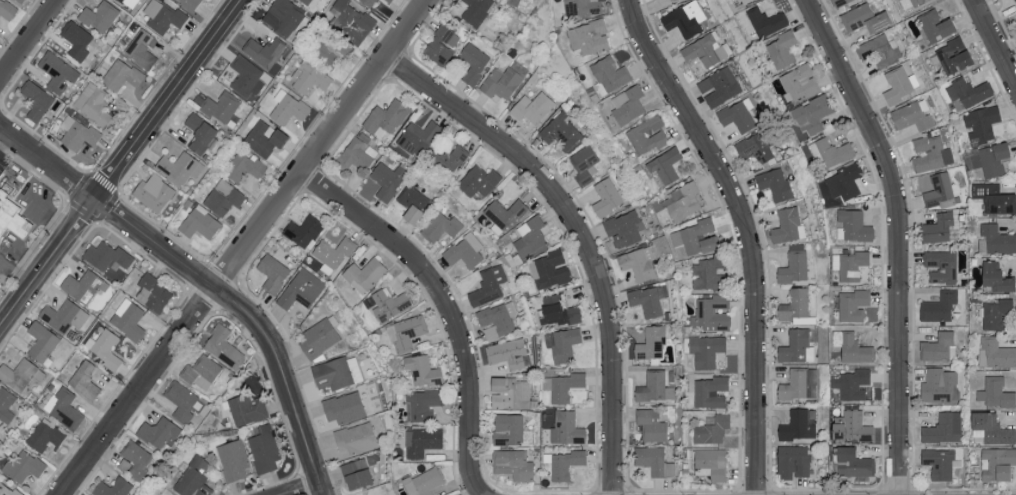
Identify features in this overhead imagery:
building: (671, 0)
building: (1015, 0)
building: (19, 1)
building: (388, 1)
building: (746, 1)
building: (129, 2)
building: (310, 2)
building: (368, 2)
building: (840, 2)
building: (190, 3)
building: (910, 3)
building: (581, 7)
building: (6, 9)
building: (476, 11)
building: (99, 15)
building: (162, 15)
building: (283, 17)
building: (864, 18)
building: (684, 19)
building: (351, 20)
building: (767, 21)
building: (936, 26)
building: (588, 37)
building: (76, 38)
road: (31, 42)
road: (994, 42)
building: (441, 45)
building: (140, 48)
building: (264, 50)
building: (707, 50)
building: (782, 50)
building: (881, 50)
building: (954, 56)
building: (474, 62)
building: (57, 71)
building: (609, 72)
building: (121, 74)
building: (247, 76)
building: (309, 77)
building: (504, 79)
building: (799, 83)
building: (900, 83)
building: (719, 86)
building: (967, 93)
building: (36, 99)
road: (168, 99)
building: (93, 103)
building: (627, 103)
building: (221, 105)
building: (287, 106)
building: (532, 106)
building: (738, 114)
building: (813, 114)
building: (913, 115)
building: (384, 117)
building: (981, 124)
building: (199, 131)
building: (560, 131)
building: (77, 132)
building: (418, 134)
building: (647, 134)
building: (264, 138)
road: (4, 140)
building: (755, 146)
building: (831, 150)
building: (357, 153)
building: (930, 153)
building: (447, 157)
building: (990, 159)
building: (583, 162)
building: (664, 164)
parking lot: (1, 165)
building: (244, 165)
building: (178, 166)
building: (387, 178)
building: (478, 180)
building: (844, 181)
building: (775, 182)
building: (940, 190)
building: (153, 191)
building: (606, 195)
building: (223, 196)
building: (995, 197)
road: (31, 198)
building: (413, 202)
building: (505, 212)
building: (14, 221)
building: (198, 222)
building: (788, 224)
building: (853, 225)
building: (440, 226)
building: (624, 227)
building: (937, 227)
building: (303, 229)
road: (750, 232)
building: (530, 235)
road: (580, 235)
building: (696, 236)
road: (897, 237)
building: (995, 239)
road: (243, 246)
building: (464, 250)
building: (332, 253)
building: (106, 255)
building: (638, 262)
road: (47, 263)
building: (850, 263)
building: (794, 264)
building: (941, 265)
road: (0, 268)
building: (551, 269)
building: (272, 271)
building: (709, 271)
building: (364, 273)
building: (996, 276)
parking lot: (0, 278)
road: (14, 278)
road: (203, 280)
building: (83, 285)
building: (488, 285)
building: (301, 289)
building: (152, 292)
building: (648, 299)
road: (445, 301)
building: (853, 304)
building: (939, 305)
building: (795, 306)
building: (557, 310)
building: (712, 312)
building: (995, 312)
building: (58, 314)
building: (80, 317)
building: (127, 318)
building: (497, 318)
building: (406, 331)
building: (318, 337)
building: (41, 340)
building: (651, 342)
building: (562, 343)
building: (223, 346)
building: (796, 346)
building: (852, 346)
building: (938, 346)
building: (104, 347)
building: (706, 349)
building: (507, 352)
building: (996, 353)
building: (422, 369)
building: (201, 371)
building: (334, 372)
building: (20, 373)
building: (84, 379)
building: (812, 382)
building: (794, 384)
building: (853, 384)
building: (563, 385)
building: (939, 385)
building: (655, 386)
building: (711, 391)
building: (510, 392)
building: (997, 392)
building: (183, 401)
building: (421, 403)
building: (5, 404)
building: (64, 407)
building: (344, 407)
building: (247, 408)
building: (375, 423)
building: (651, 424)
building: (799, 424)
building: (852, 427)
building: (508, 428)
building: (567, 428)
building: (711, 428)
building: (943, 428)
building: (990, 428)
building: (158, 431)
building: (45, 434)
building: (355, 438)
building: (422, 440)
building: (263, 448)
building: (137, 458)
building: (232, 458)
building: (654, 460)
building: (712, 461)
building: (793, 461)
building: (854, 462)
building: (939, 462)
building: (566, 463)
building: (997, 463)
building: (125, 464)
building: (513, 464)
building: (23, 466)
building: (356, 473)
building: (192, 477)
building: (424, 481)
building: (113, 487)
building: (8, 490)
road: (308, 490)
building: (87, 494)

